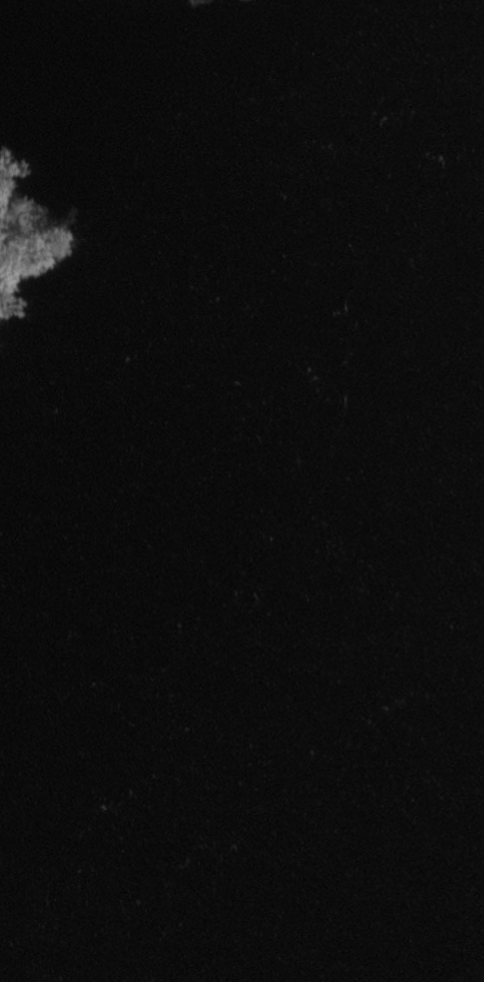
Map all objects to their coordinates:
river: (391, 593)
river: (149, 726)

